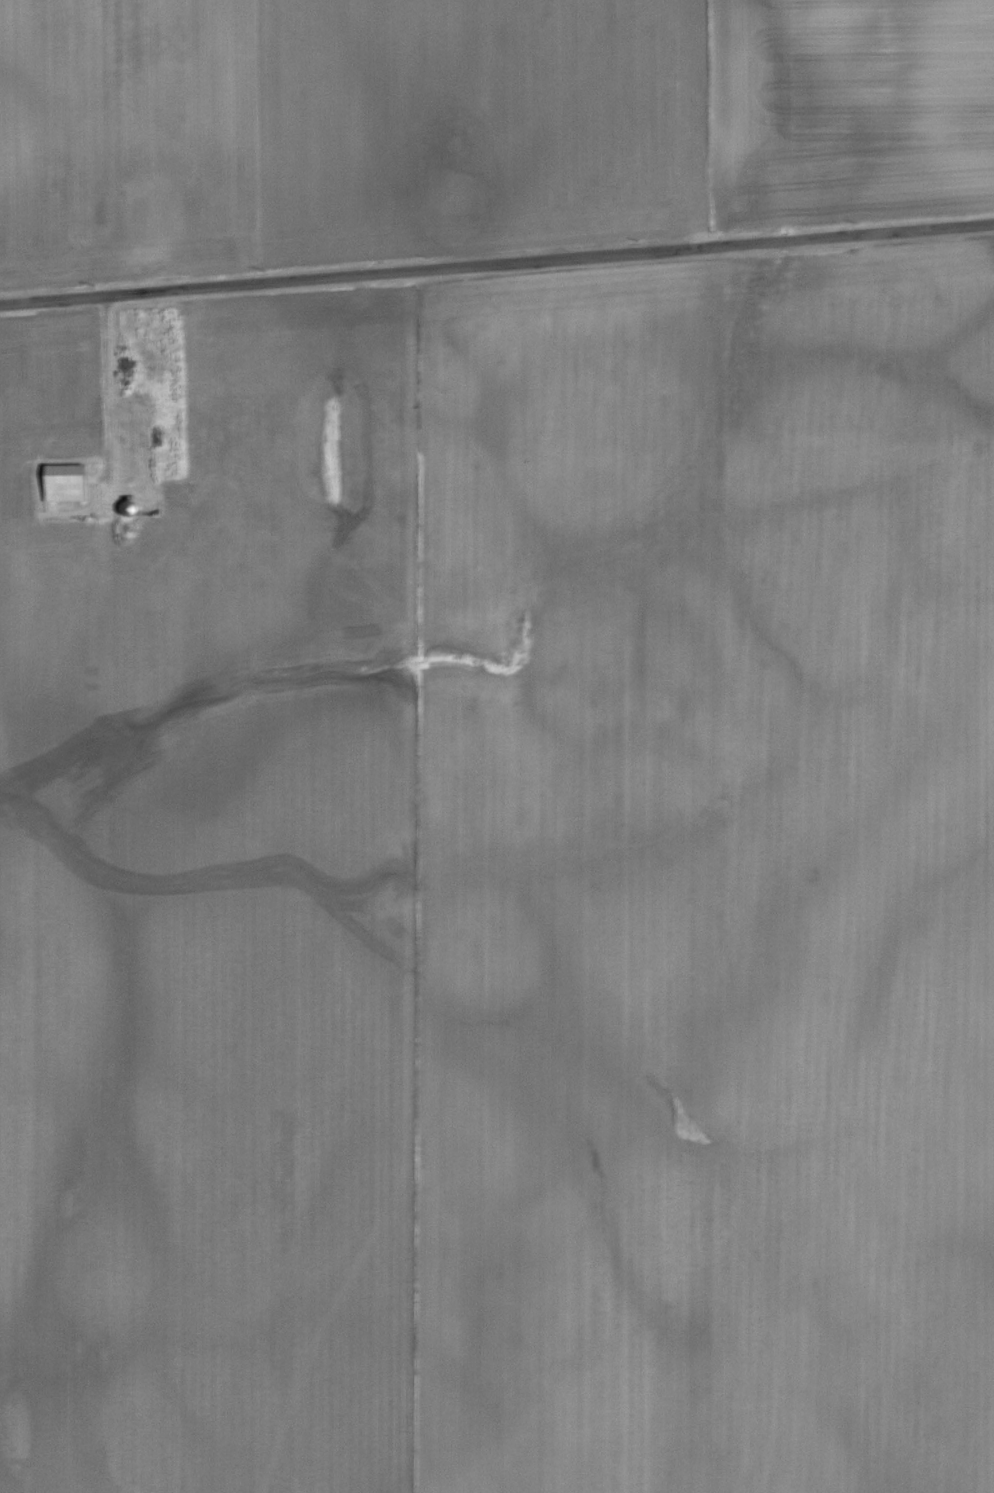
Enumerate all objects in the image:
road: (497, 262)
building: (64, 483)

